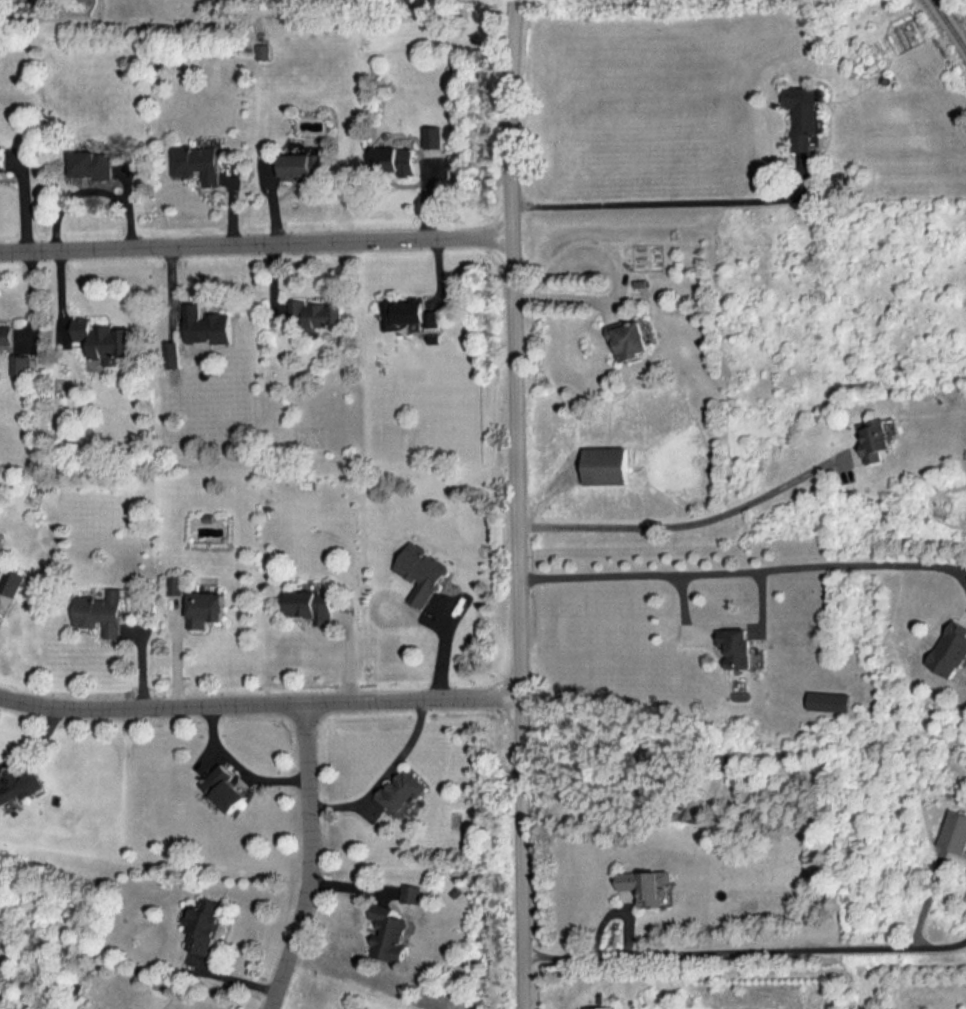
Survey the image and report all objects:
railway: (948, 24)
building: (263, 51)
building: (803, 115)
building: (434, 136)
building: (2, 158)
building: (396, 159)
building: (199, 162)
building: (92, 164)
building: (300, 164)
road: (94, 189)
road: (670, 201)
road: (588, 240)
road: (257, 242)
road: (570, 294)
building: (318, 313)
building: (407, 313)
building: (206, 325)
building: (6, 333)
building: (104, 339)
building: (628, 339)
building: (173, 354)
building: (21, 364)
building: (875, 438)
building: (606, 465)
road: (518, 504)
road: (689, 525)
road: (746, 568)
building: (421, 572)
building: (10, 581)
building: (174, 584)
building: (312, 605)
building: (205, 608)
building: (99, 612)
building: (737, 646)
building: (950, 649)
building: (829, 700)
road: (260, 705)
road: (36, 740)
road: (242, 763)
building: (19, 783)
building: (225, 788)
building: (401, 791)
building: (952, 832)
road: (310, 859)
building: (646, 884)
building: (411, 893)
building: (203, 924)
building: (388, 933)
road: (745, 950)
building: (358, 1007)
building: (601, 1007)

